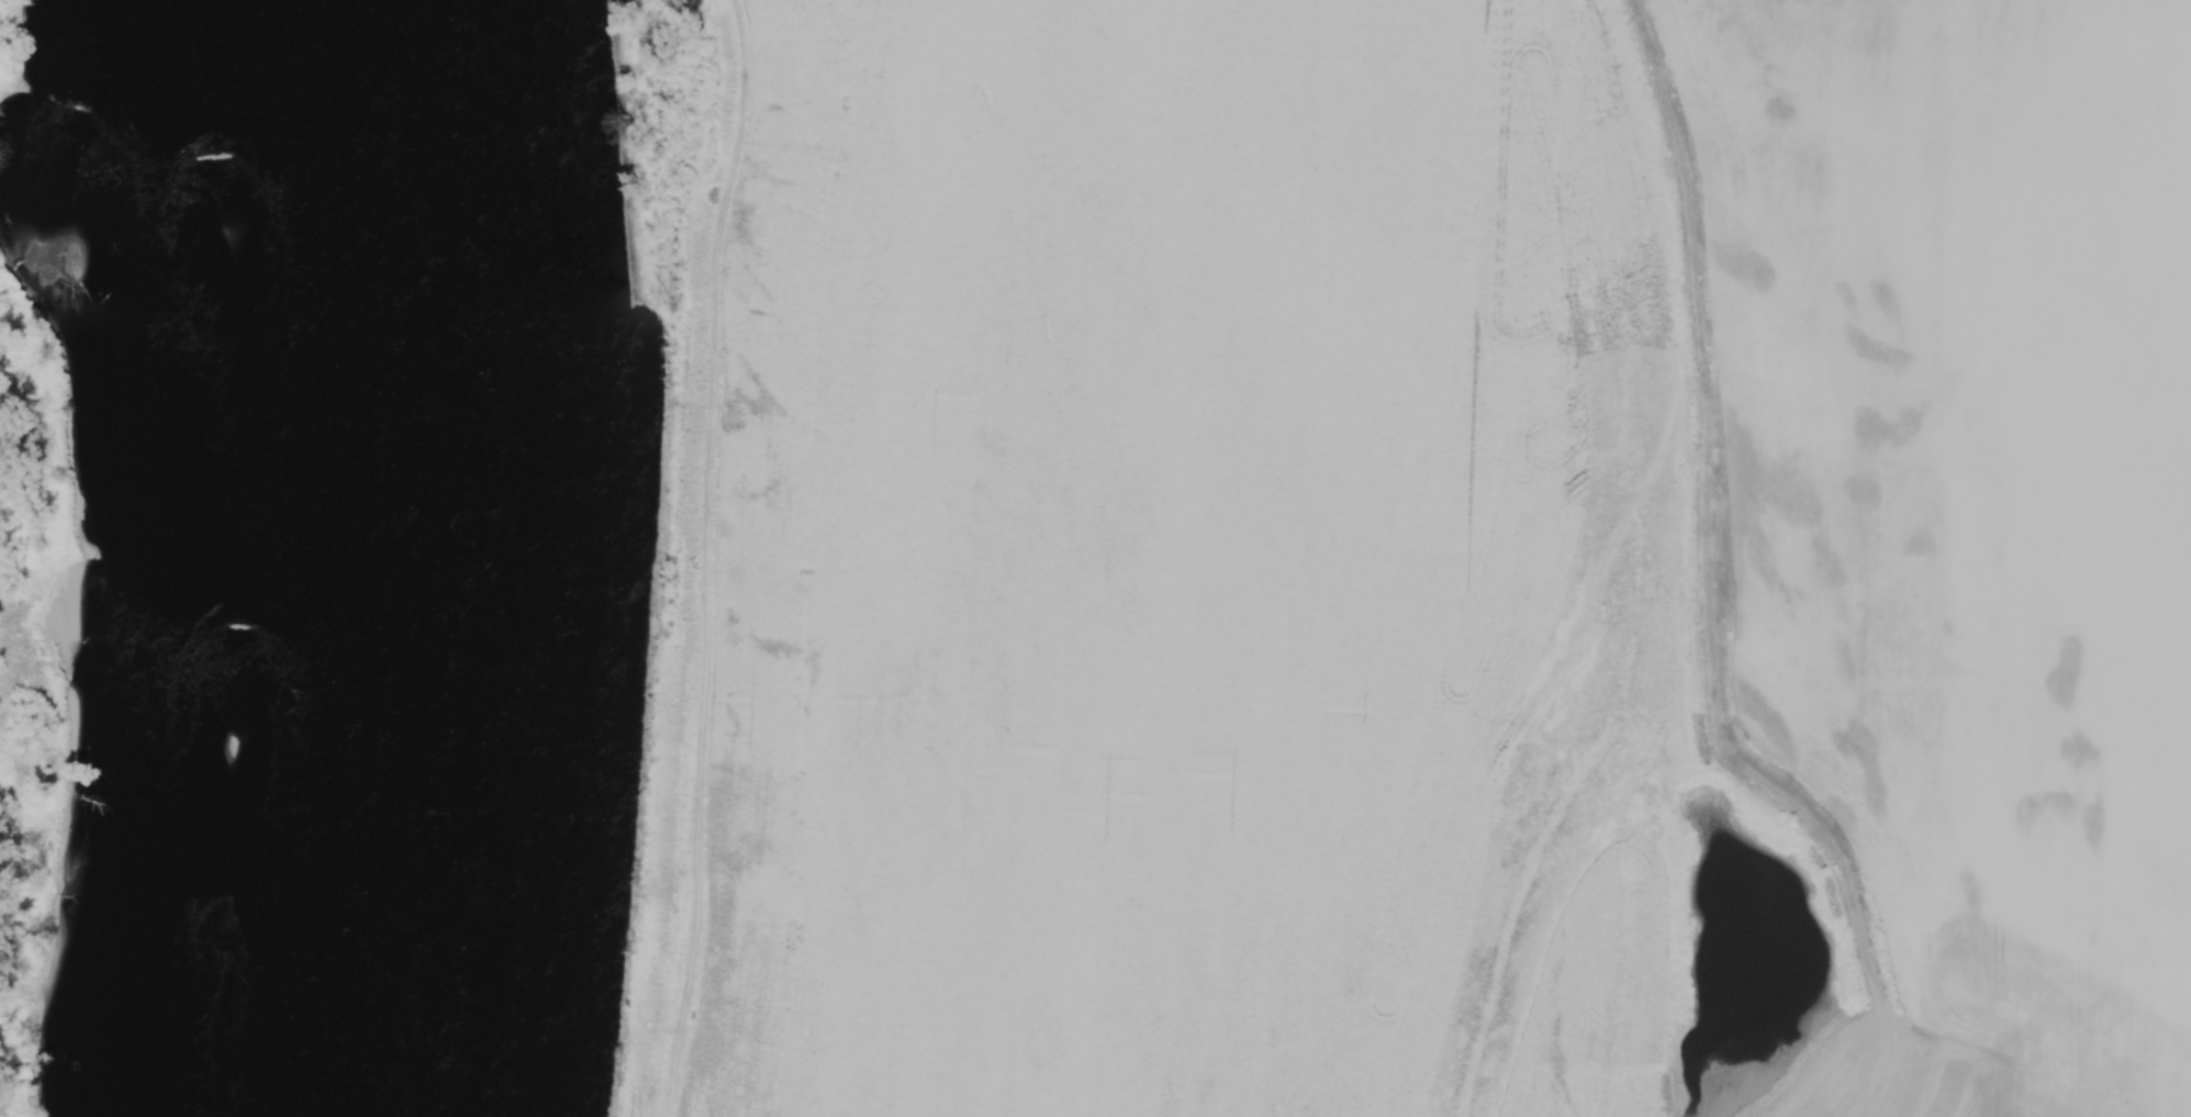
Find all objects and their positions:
river: (370, 559)
road: (1710, 673)

